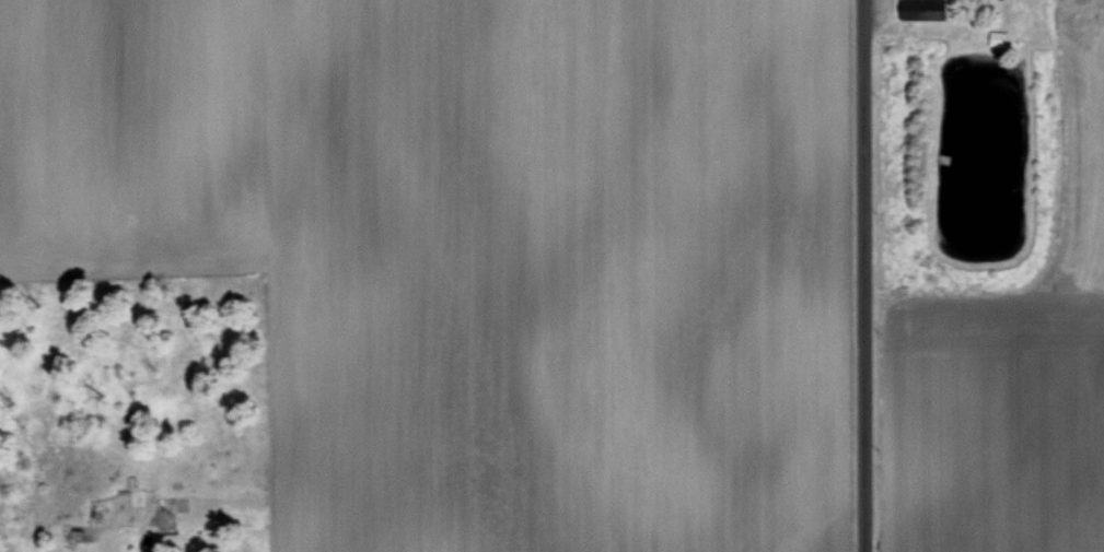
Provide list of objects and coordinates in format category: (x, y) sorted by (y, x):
building: (926, 9)
road: (859, 275)

